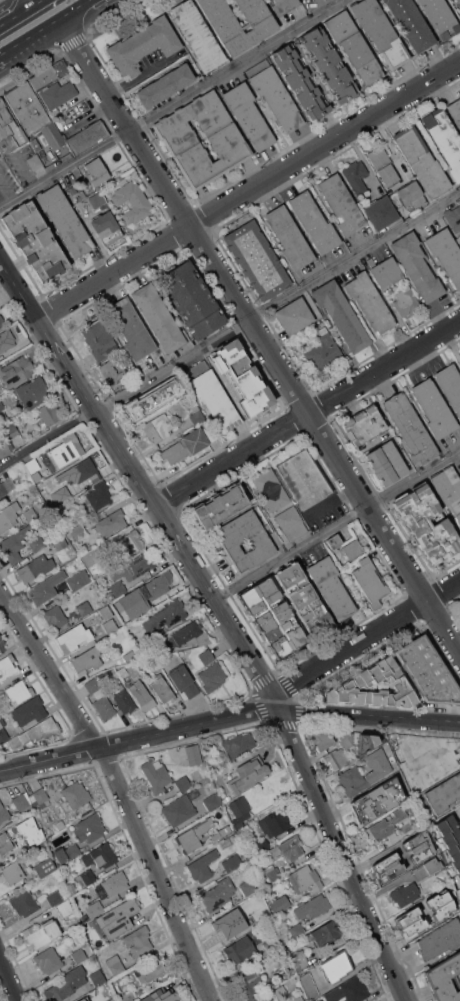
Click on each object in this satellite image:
building: (458, 0)
building: (283, 5)
road: (19, 11)
building: (439, 17)
road: (118, 18)
building: (411, 23)
road: (48, 29)
building: (380, 31)
building: (198, 35)
road: (72, 41)
building: (238, 42)
building: (143, 45)
building: (353, 46)
building: (327, 63)
road: (30, 71)
building: (300, 81)
building: (165, 82)
building: (53, 84)
building: (274, 94)
road: (171, 104)
building: (455, 111)
building: (33, 114)
building: (248, 115)
building: (9, 131)
building: (87, 136)
building: (177, 137)
building: (444, 138)
building: (35, 144)
building: (34, 161)
building: (422, 161)
building: (383, 164)
building: (96, 171)
building: (356, 176)
road: (249, 190)
building: (412, 193)
road: (3, 197)
building: (97, 199)
building: (132, 201)
building: (341, 204)
building: (381, 211)
building: (453, 217)
building: (64, 220)
building: (314, 222)
building: (106, 227)
building: (289, 237)
building: (458, 238)
building: (35, 240)
building: (446, 253)
building: (257, 259)
road: (21, 264)
building: (417, 266)
building: (385, 271)
building: (192, 299)
road: (278, 301)
building: (369, 301)
building: (406, 301)
road: (47, 311)
building: (341, 314)
building: (293, 315)
building: (159, 317)
building: (1, 321)
building: (131, 328)
road: (261, 338)
building: (99, 339)
building: (6, 340)
building: (323, 350)
building: (459, 351)
building: (17, 371)
building: (112, 372)
building: (450, 384)
building: (32, 393)
building: (212, 395)
building: (155, 397)
road: (109, 403)
building: (1, 405)
building: (434, 408)
building: (48, 414)
building: (196, 414)
road: (308, 414)
building: (363, 425)
building: (158, 426)
building: (410, 428)
building: (11, 430)
road: (48, 439)
building: (187, 445)
building: (5, 448)
building: (65, 450)
building: (386, 462)
building: (32, 465)
building: (84, 470)
building: (304, 477)
road: (142, 482)
building: (6, 486)
building: (448, 488)
building: (271, 489)
road: (127, 493)
building: (61, 494)
building: (98, 495)
road: (170, 498)
building: (0, 500)
building: (220, 504)
building: (30, 514)
building: (8, 515)
building: (111, 520)
building: (291, 522)
building: (426, 524)
road: (337, 525)
building: (78, 532)
building: (231, 541)
building: (334, 541)
building: (36, 542)
building: (60, 542)
building: (15, 543)
building: (128, 545)
building: (352, 548)
building: (94, 554)
building: (137, 565)
building: (35, 567)
building: (78, 579)
building: (370, 581)
building: (47, 587)
building: (331, 587)
building: (118, 588)
road: (227, 591)
building: (110, 595)
building: (143, 595)
building: (303, 598)
building: (84, 607)
building: (459, 609)
building: (459, 611)
building: (105, 612)
building: (165, 615)
building: (54, 616)
building: (273, 617)
building: (111, 625)
building: (190, 635)
building: (73, 637)
road: (356, 642)
building: (2, 644)
building: (129, 655)
building: (206, 655)
building: (150, 658)
building: (87, 659)
building: (7, 666)
building: (132, 669)
building: (427, 671)
building: (123, 672)
road: (275, 674)
building: (212, 676)
building: (106, 677)
building: (184, 680)
building: (359, 680)
building: (162, 688)
building: (18, 690)
building: (142, 696)
building: (100, 698)
building: (123, 698)
road: (298, 698)
building: (29, 710)
road: (369, 715)
road: (278, 721)
road: (381, 731)
building: (30, 732)
road: (139, 737)
building: (322, 738)
building: (345, 738)
building: (367, 743)
building: (238, 744)
building: (424, 748)
building: (193, 754)
building: (336, 757)
building: (377, 764)
building: (249, 773)
building: (156, 774)
building: (424, 774)
building: (352, 780)
building: (184, 782)
road: (119, 789)
building: (444, 793)
building: (76, 794)
building: (229, 796)
building: (39, 797)
building: (378, 799)
building: (21, 800)
building: (213, 800)
building: (179, 809)
building: (240, 810)
building: (3, 812)
building: (459, 815)
building: (277, 821)
building: (60, 824)
building: (386, 825)
building: (89, 827)
building: (31, 830)
building: (223, 830)
building: (194, 834)
building: (450, 840)
building: (226, 842)
building: (4, 843)
building: (263, 844)
building: (418, 846)
building: (287, 849)
building: (36, 851)
building: (67, 852)
building: (100, 855)
road: (341, 855)
road: (328, 860)
building: (232, 862)
road: (359, 862)
building: (203, 865)
building: (44, 867)
building: (387, 867)
building: (427, 868)
building: (12, 872)
building: (273, 872)
building: (86, 878)
building: (305, 878)
building: (115, 882)
building: (248, 886)
building: (71, 887)
building: (218, 893)
building: (404, 893)
building: (55, 898)
building: (24, 903)
building: (279, 903)
building: (440, 905)
building: (312, 907)
building: (65, 908)
building: (95, 908)
building: (119, 912)
building: (256, 915)
building: (410, 923)
building: (226, 926)
building: (297, 929)
building: (326, 932)
building: (42, 933)
building: (440, 938)
building: (138, 940)
building: (240, 949)
building: (79, 954)
building: (300, 959)
building: (48, 960)
building: (115, 964)
building: (337, 965)
building: (151, 970)
road: (10, 976)
building: (98, 977)
building: (444, 978)
building: (250, 983)
building: (67, 984)
building: (306, 989)
building: (349, 990)
building: (275, 994)
building: (161, 995)
building: (128, 996)
building: (84, 999)
building: (111, 999)
building: (119, 1000)

